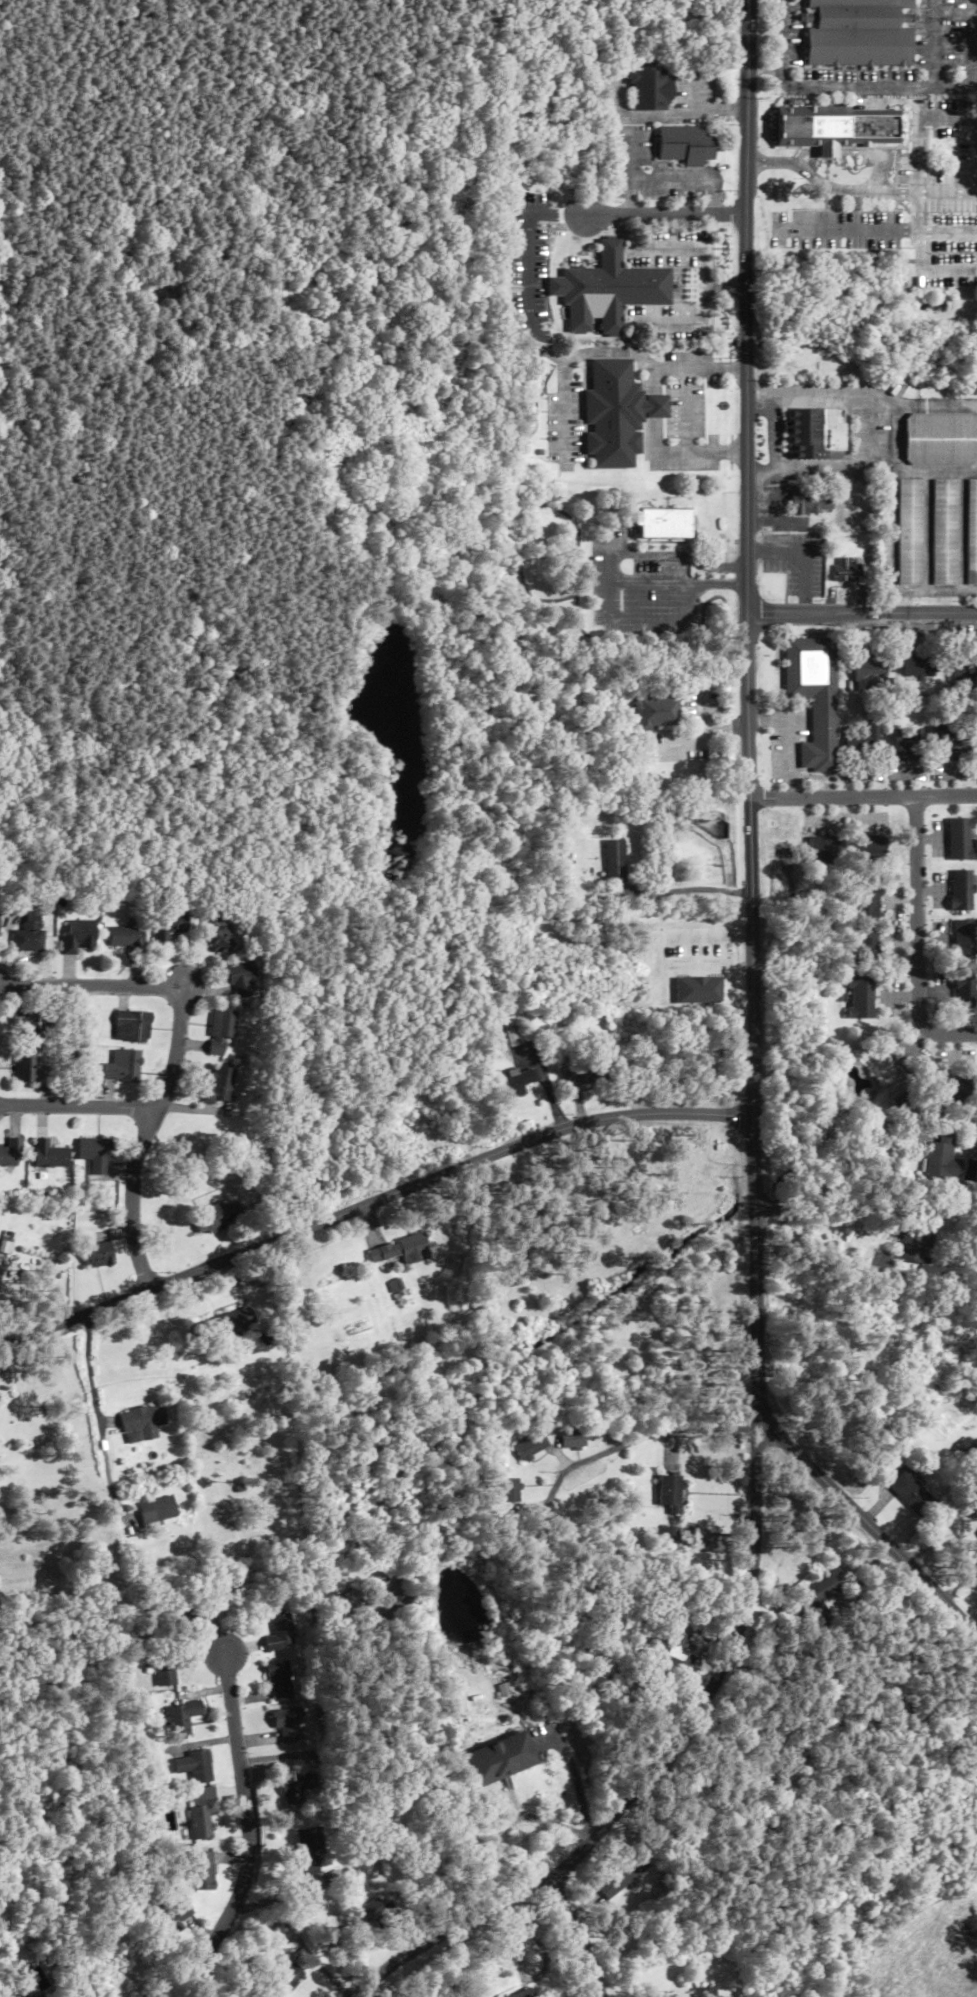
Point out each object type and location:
road: (781, 11)
building: (858, 33)
road: (781, 44)
road: (781, 67)
road: (779, 70)
road: (932, 87)
building: (651, 89)
road: (721, 110)
road: (654, 116)
building: (836, 128)
building: (687, 144)
road: (634, 163)
road: (670, 182)
road: (717, 193)
road: (871, 193)
road: (634, 206)
road: (668, 215)
road: (599, 230)
road: (669, 248)
building: (623, 284)
road: (706, 285)
road: (727, 286)
road: (747, 307)
road: (596, 338)
road: (565, 366)
road: (732, 369)
road: (827, 392)
building: (655, 405)
road: (655, 411)
road: (686, 411)
building: (613, 412)
building: (816, 434)
building: (941, 439)
road: (733, 451)
building: (810, 501)
building: (664, 522)
building: (910, 532)
building: (944, 532)
building: (972, 532)
road: (756, 551)
road: (807, 552)
road: (715, 566)
road: (610, 567)
building: (846, 570)
road: (716, 585)
road: (807, 605)
road: (862, 614)
building: (919, 668)
building: (876, 669)
building: (966, 672)
building: (815, 697)
building: (655, 712)
road: (749, 719)
building: (949, 741)
building: (865, 742)
building: (976, 745)
building: (904, 746)
road: (864, 796)
road: (752, 835)
building: (960, 839)
building: (868, 846)
building: (823, 850)
building: (613, 861)
road: (686, 890)
building: (961, 890)
building: (863, 901)
building: (166, 923)
building: (218, 932)
building: (28, 934)
building: (76, 935)
building: (124, 937)
road: (917, 939)
building: (964, 939)
building: (864, 944)
building: (239, 973)
building: (964, 992)
building: (861, 997)
building: (33, 1025)
building: (131, 1026)
building: (221, 1032)
building: (510, 1034)
road: (178, 1036)
building: (123, 1067)
building: (26, 1069)
building: (572, 1074)
building: (513, 1082)
building: (220, 1087)
building: (951, 1094)
building: (414, 1122)
building: (12, 1153)
building: (52, 1154)
building: (96, 1154)
building: (940, 1161)
road: (134, 1198)
road: (371, 1201)
building: (217, 1217)
building: (918, 1249)
building: (398, 1250)
road: (817, 1250)
building: (99, 1254)
building: (1, 1268)
road: (758, 1284)
building: (229, 1324)
road: (90, 1372)
building: (143, 1422)
road: (639, 1439)
building: (573, 1440)
building: (531, 1447)
building: (968, 1447)
building: (511, 1491)
building: (670, 1493)
building: (912, 1494)
building: (161, 1510)
building: (668, 1535)
building: (974, 1569)
building: (398, 1594)
building: (817, 1595)
building: (357, 1601)
building: (193, 1616)
building: (281, 1634)
building: (675, 1654)
building: (163, 1670)
building: (281, 1681)
building: (181, 1718)
building: (288, 1723)
building: (498, 1759)
building: (195, 1766)
road: (652, 1769)
road: (575, 1779)
building: (293, 1788)
building: (203, 1814)
road: (247, 1831)
building: (308, 1849)
building: (203, 1871)
building: (625, 1876)
building: (368, 1909)
building: (172, 1918)
building: (287, 1930)
road: (577, 1939)
building: (289, 1978)
building: (709, 1992)
building: (525, 1994)
building: (9, 1996)

